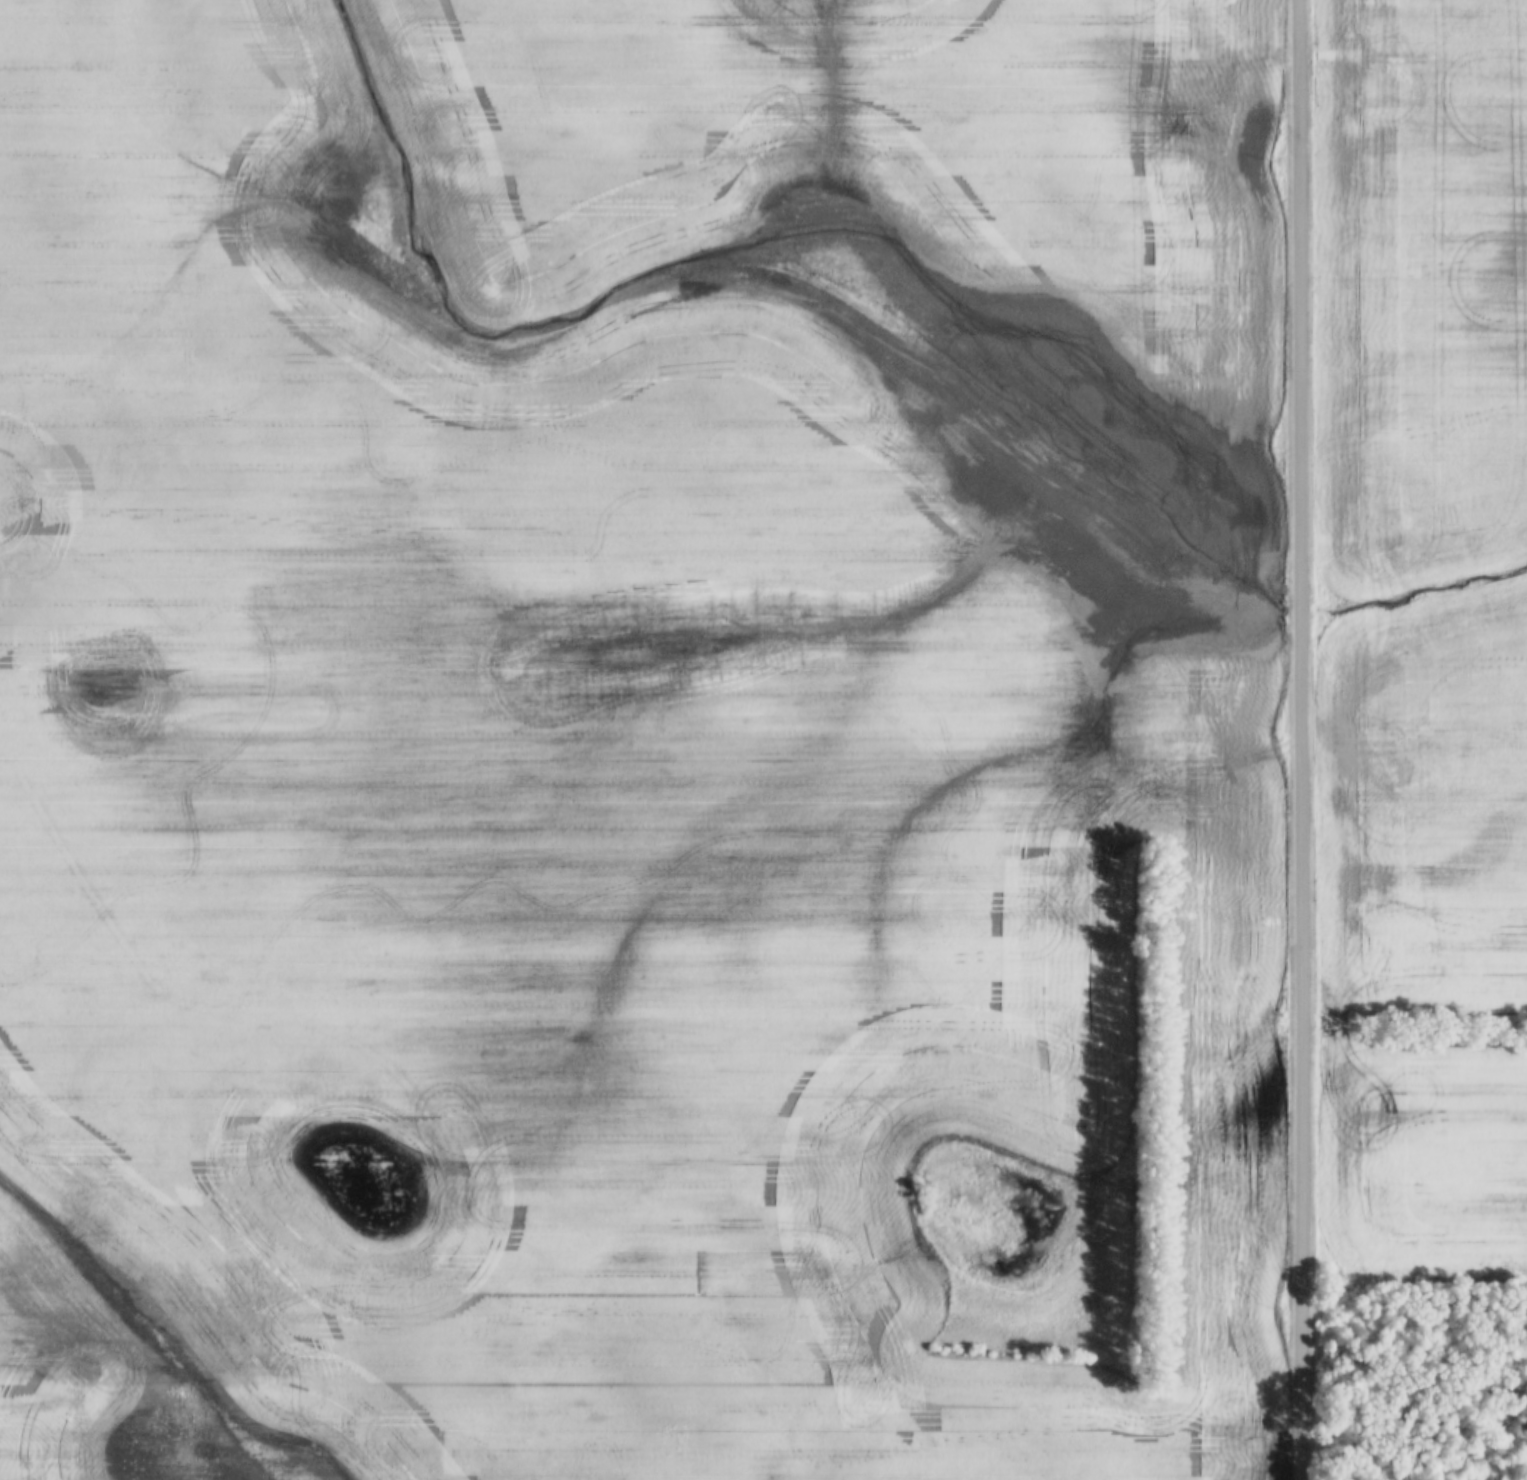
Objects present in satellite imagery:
road: (1302, 739)

